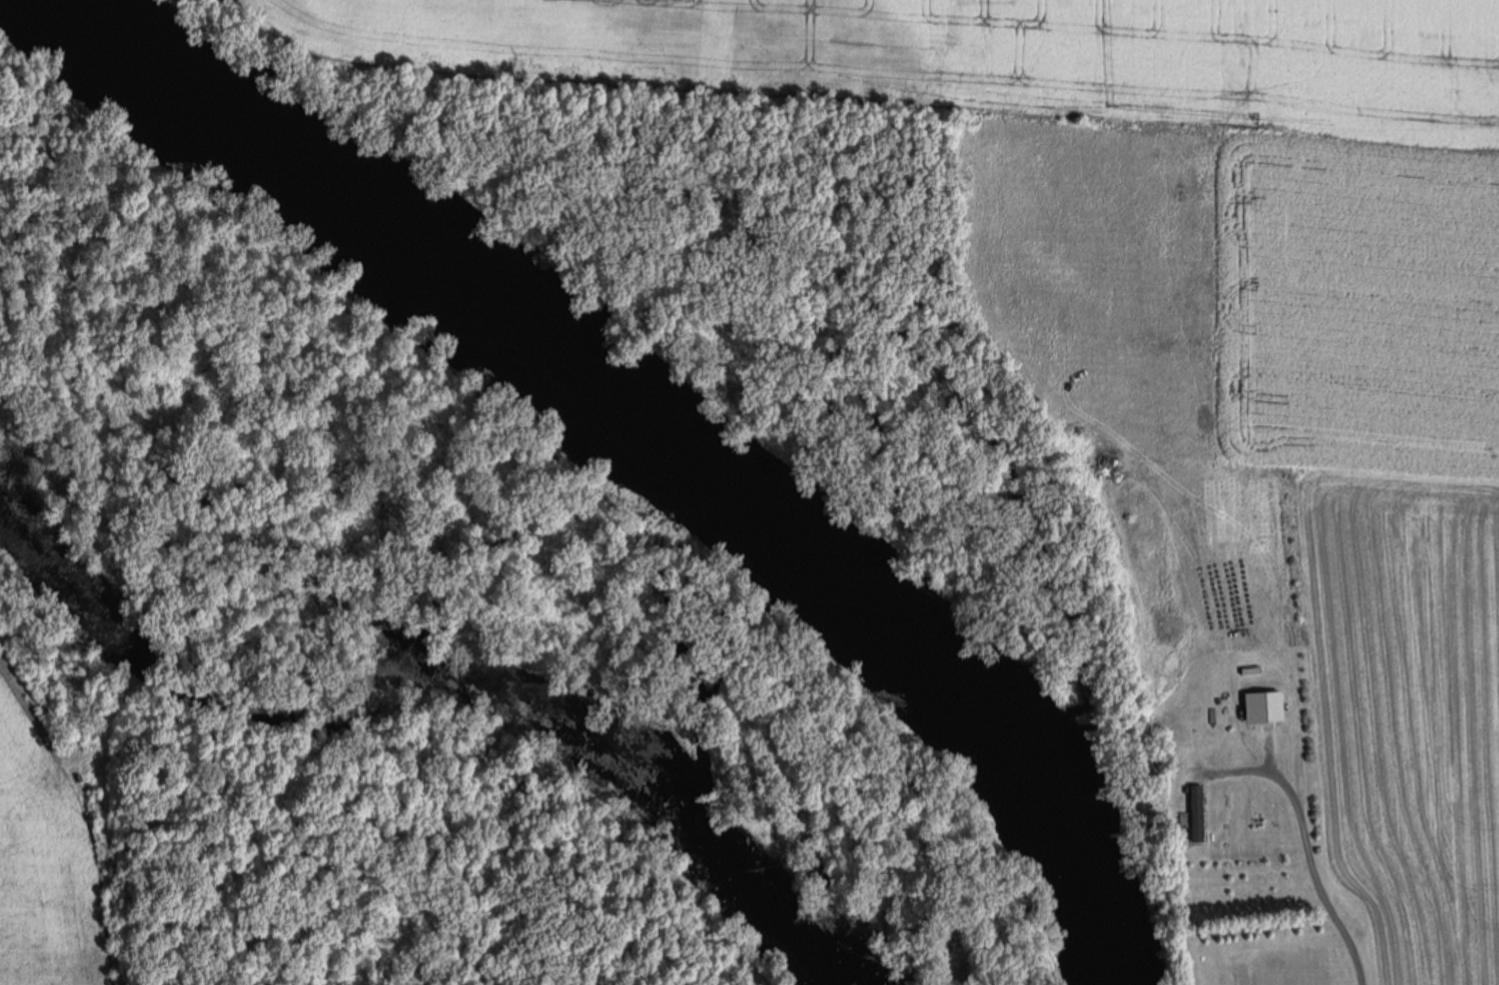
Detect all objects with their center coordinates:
crop: (1030, 50)
river: (655, 431)
crop: (1383, 502)
building: (1268, 705)
building: (1198, 811)
crop: (46, 857)
road: (1360, 959)

